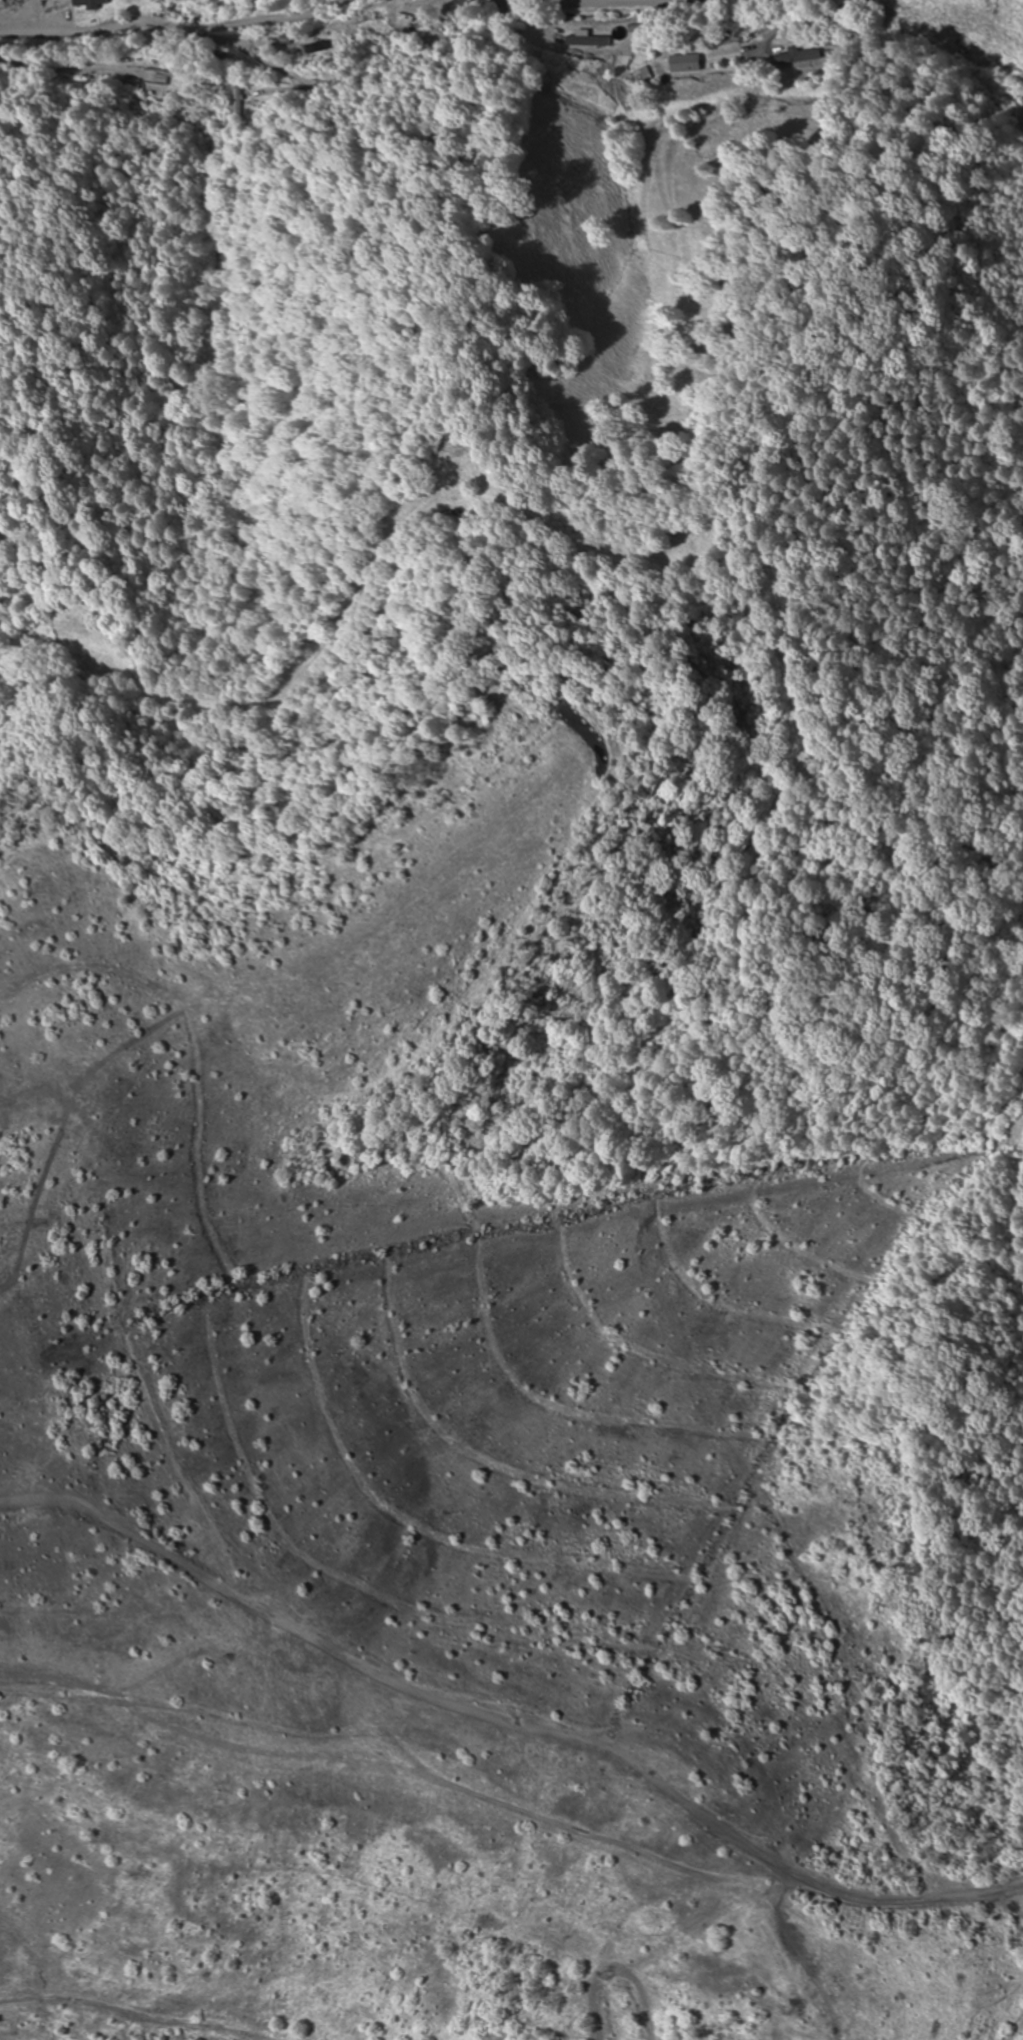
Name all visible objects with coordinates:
building: (94, 3)
road: (649, 6)
road: (224, 15)
road: (167, 39)
building: (976, 47)
building: (692, 63)

